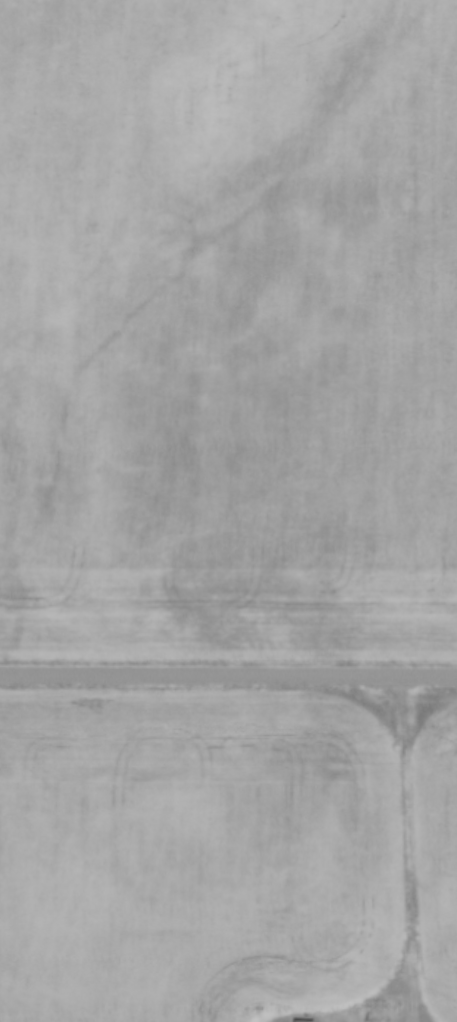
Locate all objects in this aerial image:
road: (228, 675)
building: (378, 1020)

